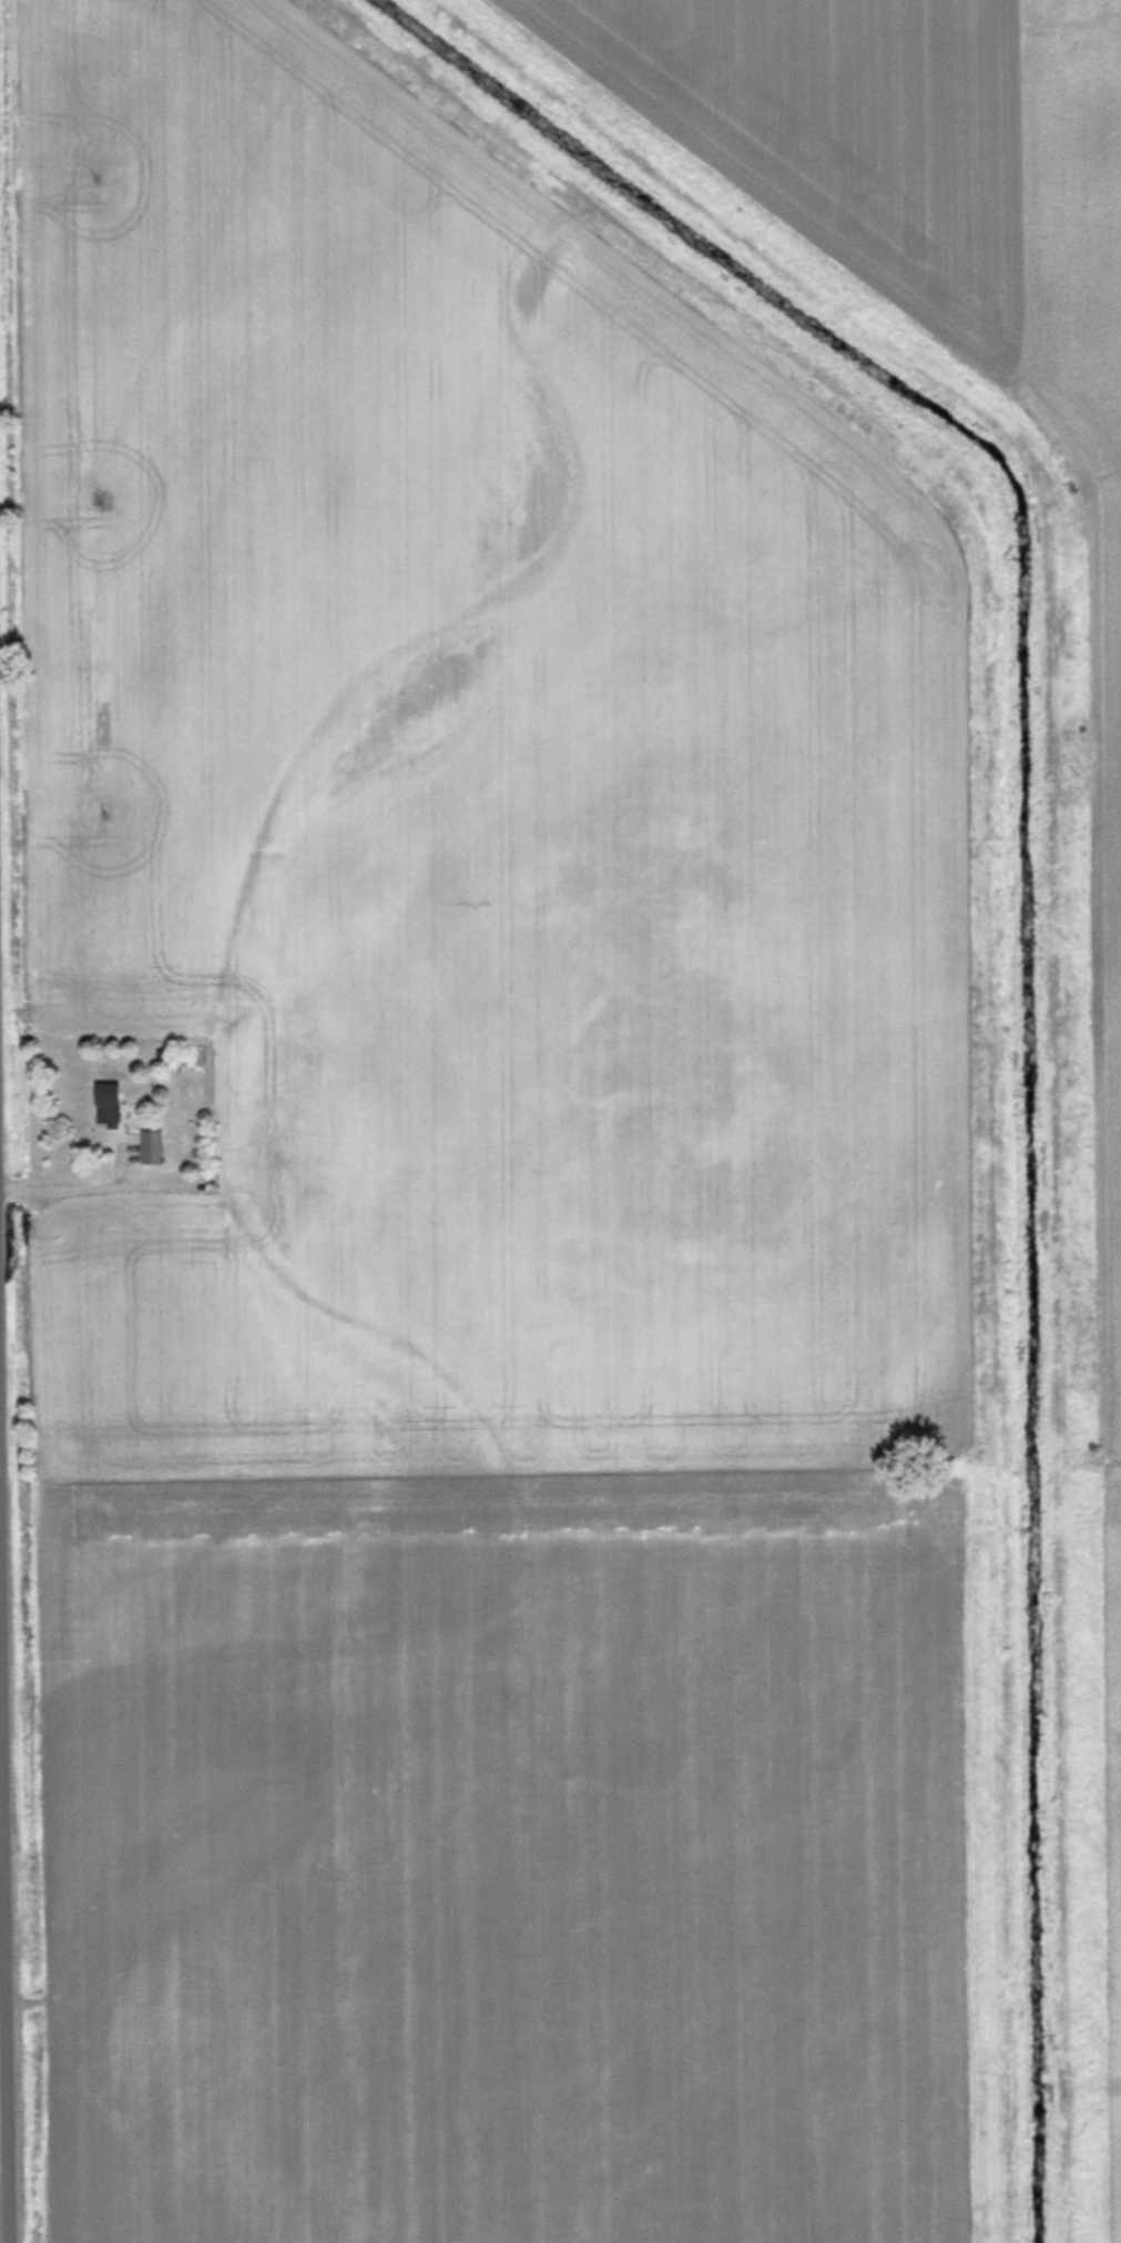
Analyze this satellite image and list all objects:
building: (108, 1103)
building: (152, 1145)
road: (9, 1576)
road: (9, 2208)

